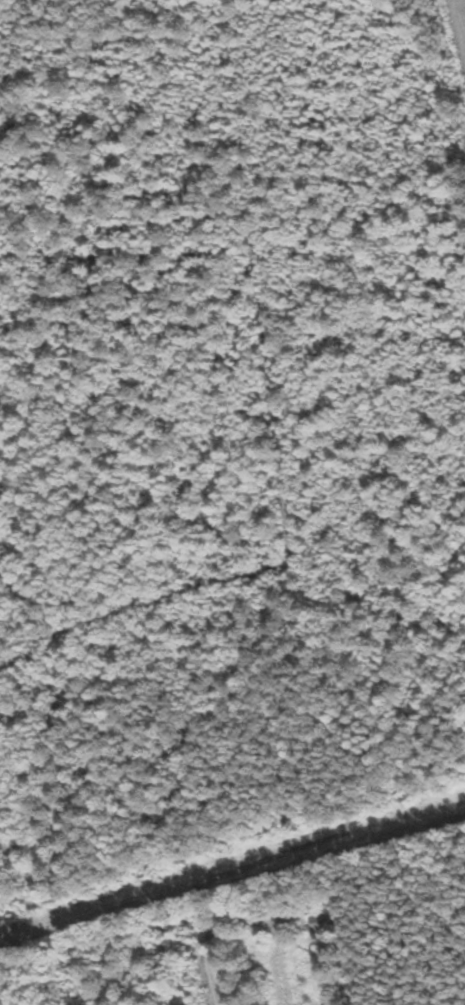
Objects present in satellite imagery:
building: (323, 921)

